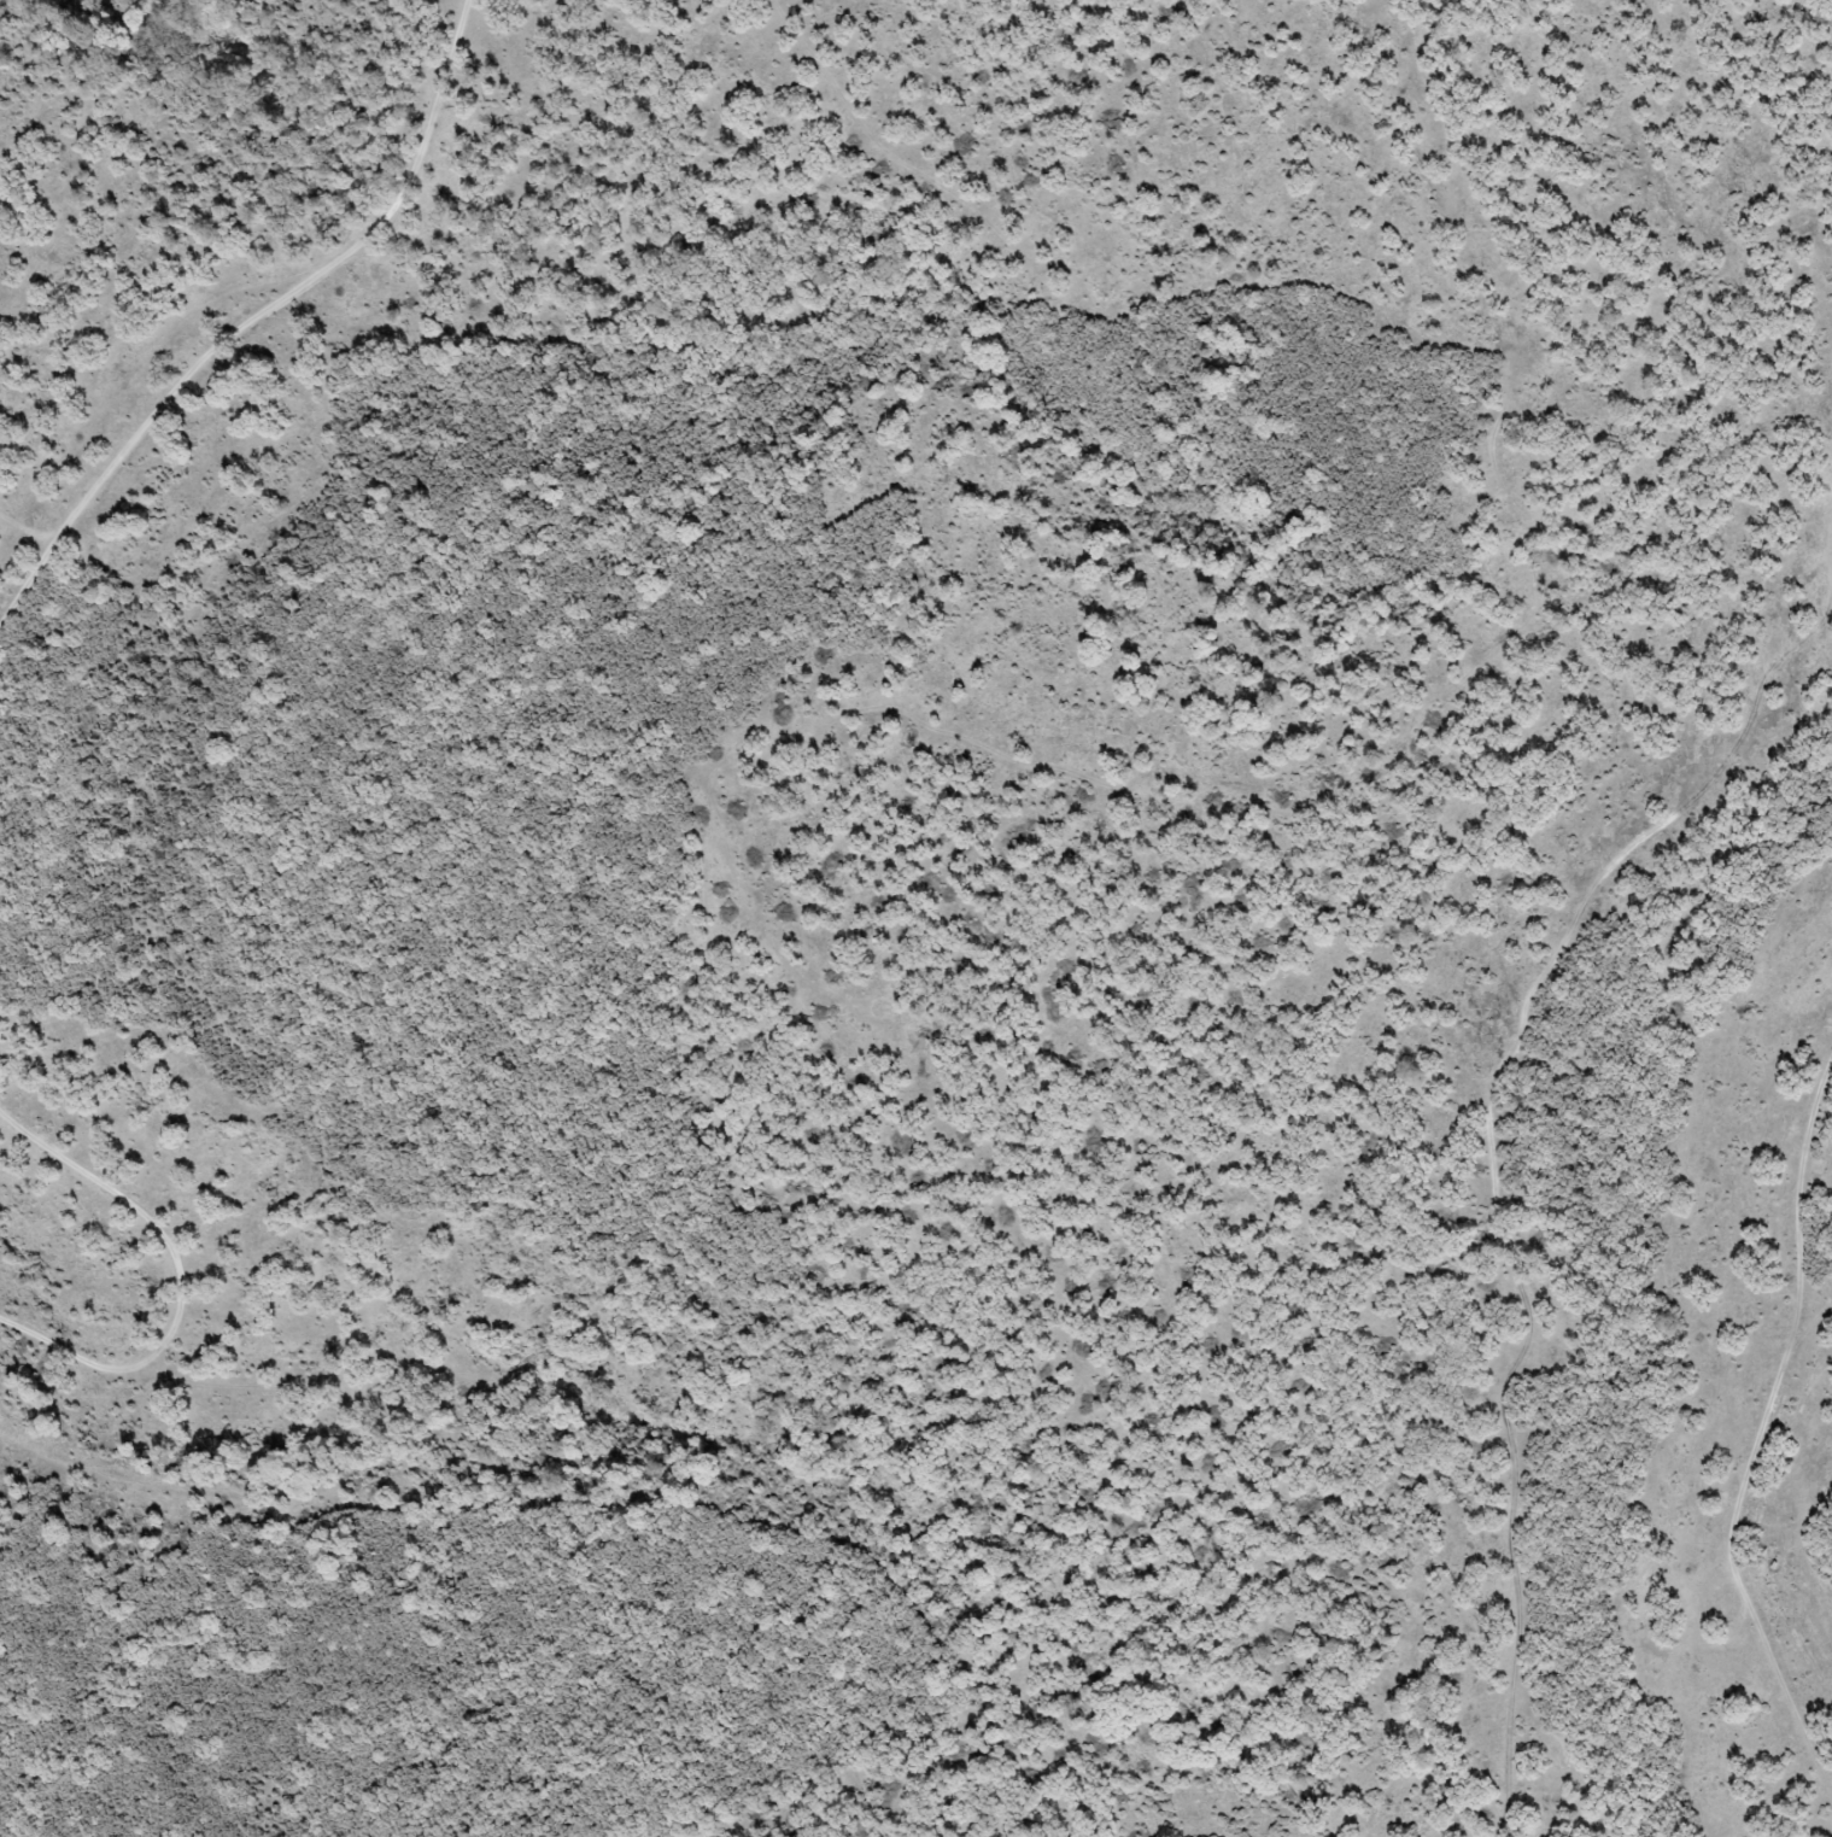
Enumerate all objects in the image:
road: (1763, 1451)

